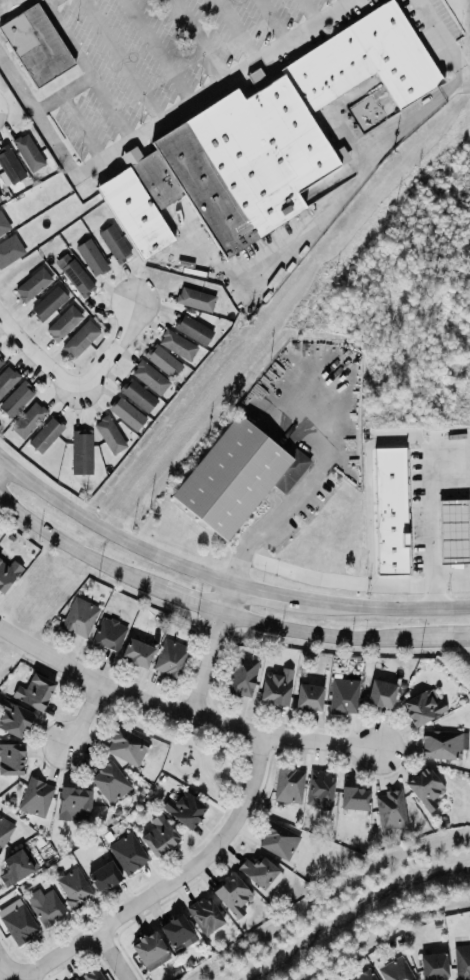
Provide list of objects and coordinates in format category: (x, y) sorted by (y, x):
road: (348, 1)
road: (275, 20)
road: (238, 30)
road: (444, 40)
road: (196, 41)
building: (34, 45)
road: (161, 51)
road: (124, 60)
road: (93, 63)
building: (255, 77)
road: (212, 89)
road: (117, 103)
road: (40, 110)
road: (86, 126)
building: (270, 139)
building: (27, 152)
building: (9, 165)
building: (3, 224)
building: (113, 243)
building: (9, 249)
building: (91, 257)
building: (76, 277)
building: (32, 284)
building: (194, 299)
building: (48, 303)
building: (63, 323)
building: (192, 329)
building: (80, 340)
building: (176, 344)
road: (112, 351)
road: (34, 356)
building: (161, 360)
building: (1, 361)
building: (149, 377)
building: (7, 380)
building: (137, 395)
building: (16, 398)
building: (126, 414)
building: (29, 419)
building: (109, 432)
building: (45, 434)
building: (82, 451)
road: (2, 459)
building: (236, 477)
road: (302, 494)
building: (389, 511)
road: (109, 530)
road: (429, 530)
road: (74, 552)
road: (450, 572)
building: (7, 573)
road: (336, 581)
road: (262, 591)
road: (190, 605)
road: (380, 608)
building: (78, 617)
road: (308, 630)
building: (107, 634)
road: (432, 636)
road: (211, 649)
building: (136, 652)
building: (170, 657)
building: (241, 675)
building: (276, 686)
building: (33, 691)
building: (381, 693)
building: (342, 694)
building: (308, 696)
building: (422, 707)
road: (181, 711)
road: (85, 713)
building: (13, 718)
building: (441, 744)
building: (125, 745)
building: (11, 759)
building: (109, 782)
building: (288, 785)
building: (319, 787)
building: (424, 788)
building: (35, 797)
building: (354, 798)
building: (73, 804)
building: (184, 808)
building: (389, 809)
building: (4, 830)
building: (158, 836)
building: (277, 841)
building: (127, 853)
building: (16, 866)
building: (259, 873)
building: (103, 876)
road: (165, 884)
building: (73, 887)
building: (232, 895)
building: (46, 908)
building: (204, 915)
building: (17, 922)
building: (176, 931)
building: (150, 951)
road: (117, 956)
building: (462, 962)
building: (433, 966)
road: (5, 969)
building: (394, 970)
building: (90, 975)
building: (363, 976)

